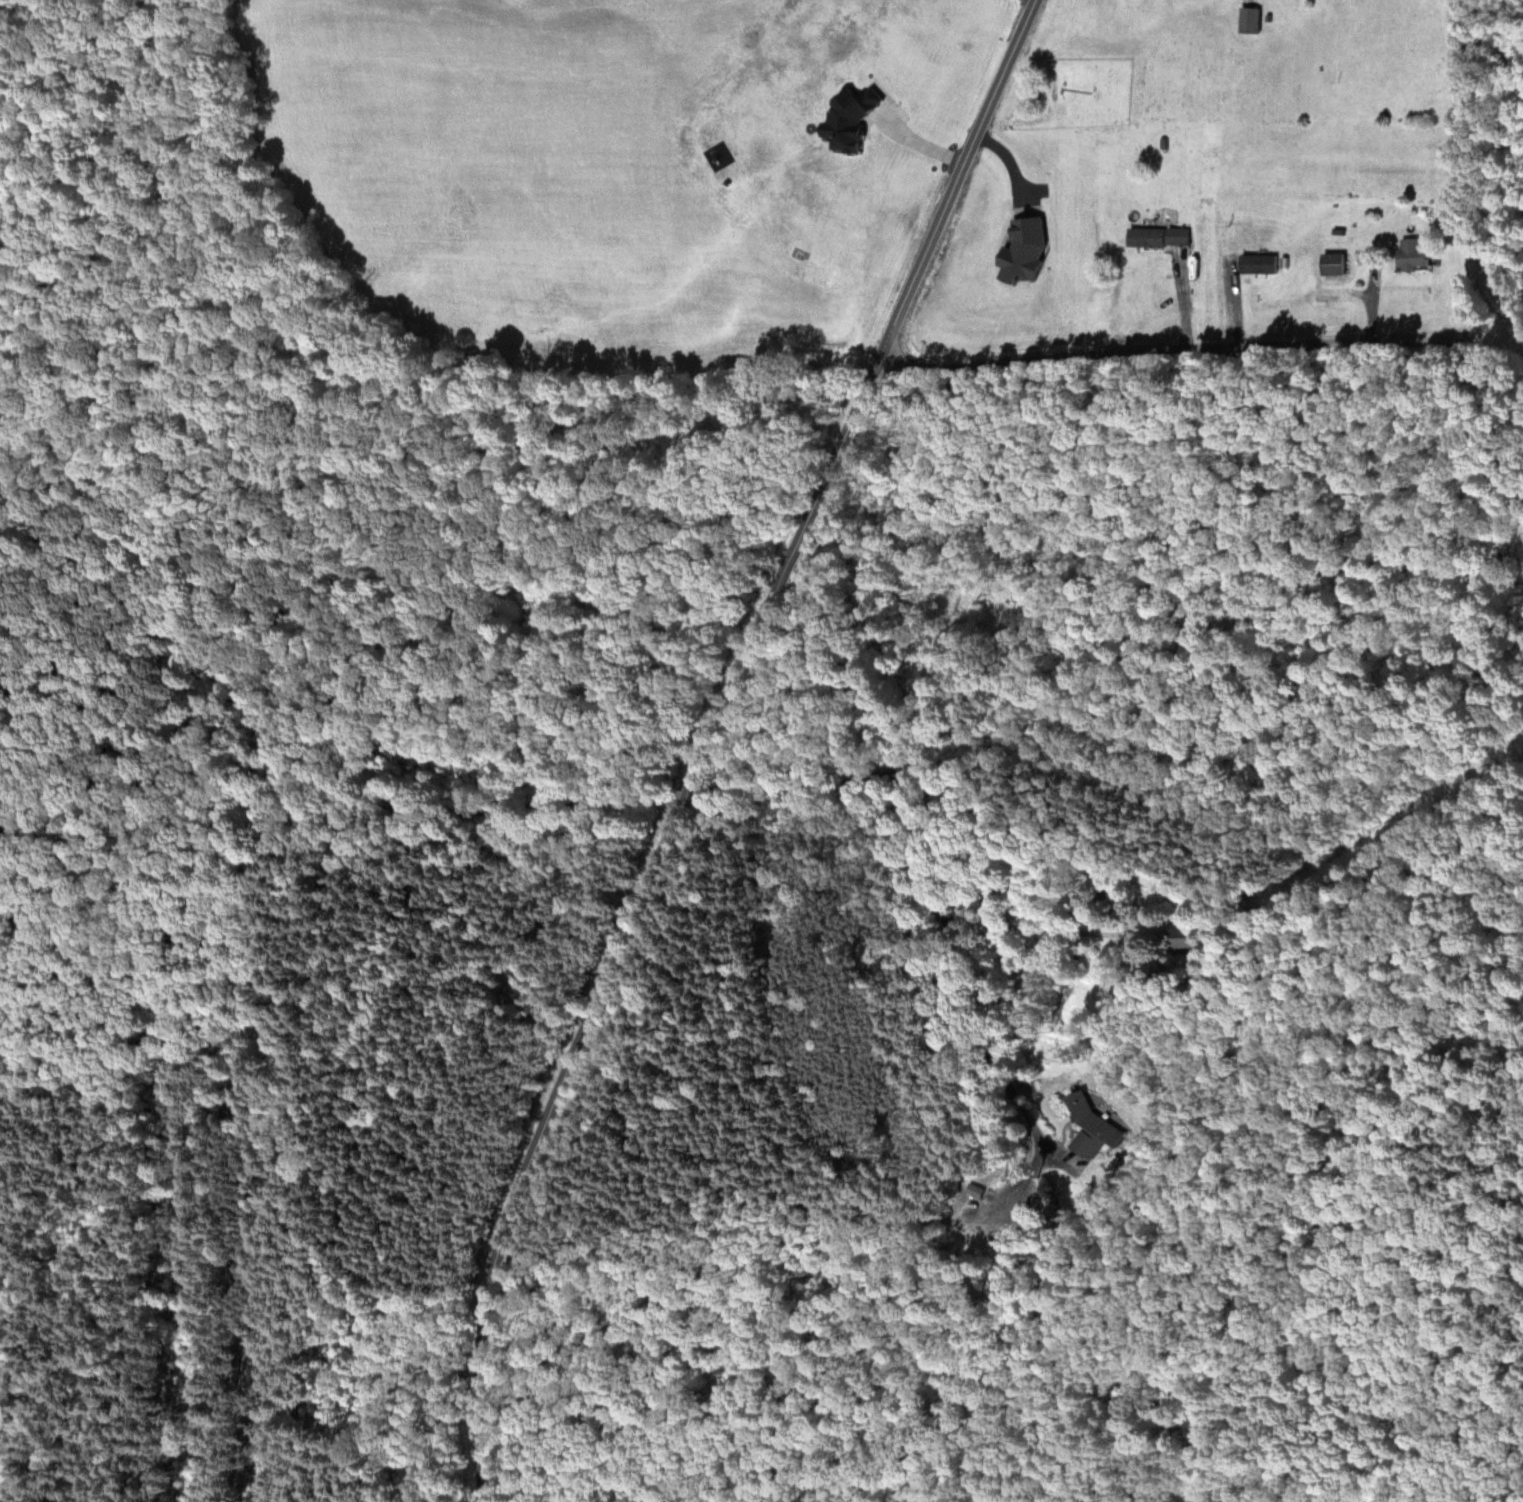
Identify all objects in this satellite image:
building: (1249, 19)
building: (1159, 236)
building: (1413, 253)
building: (1334, 262)
building: (1258, 263)
road: (1251, 346)
road: (701, 731)
road: (273, 825)
road: (937, 854)
building: (1179, 938)
building: (1092, 1124)
building: (980, 1190)

